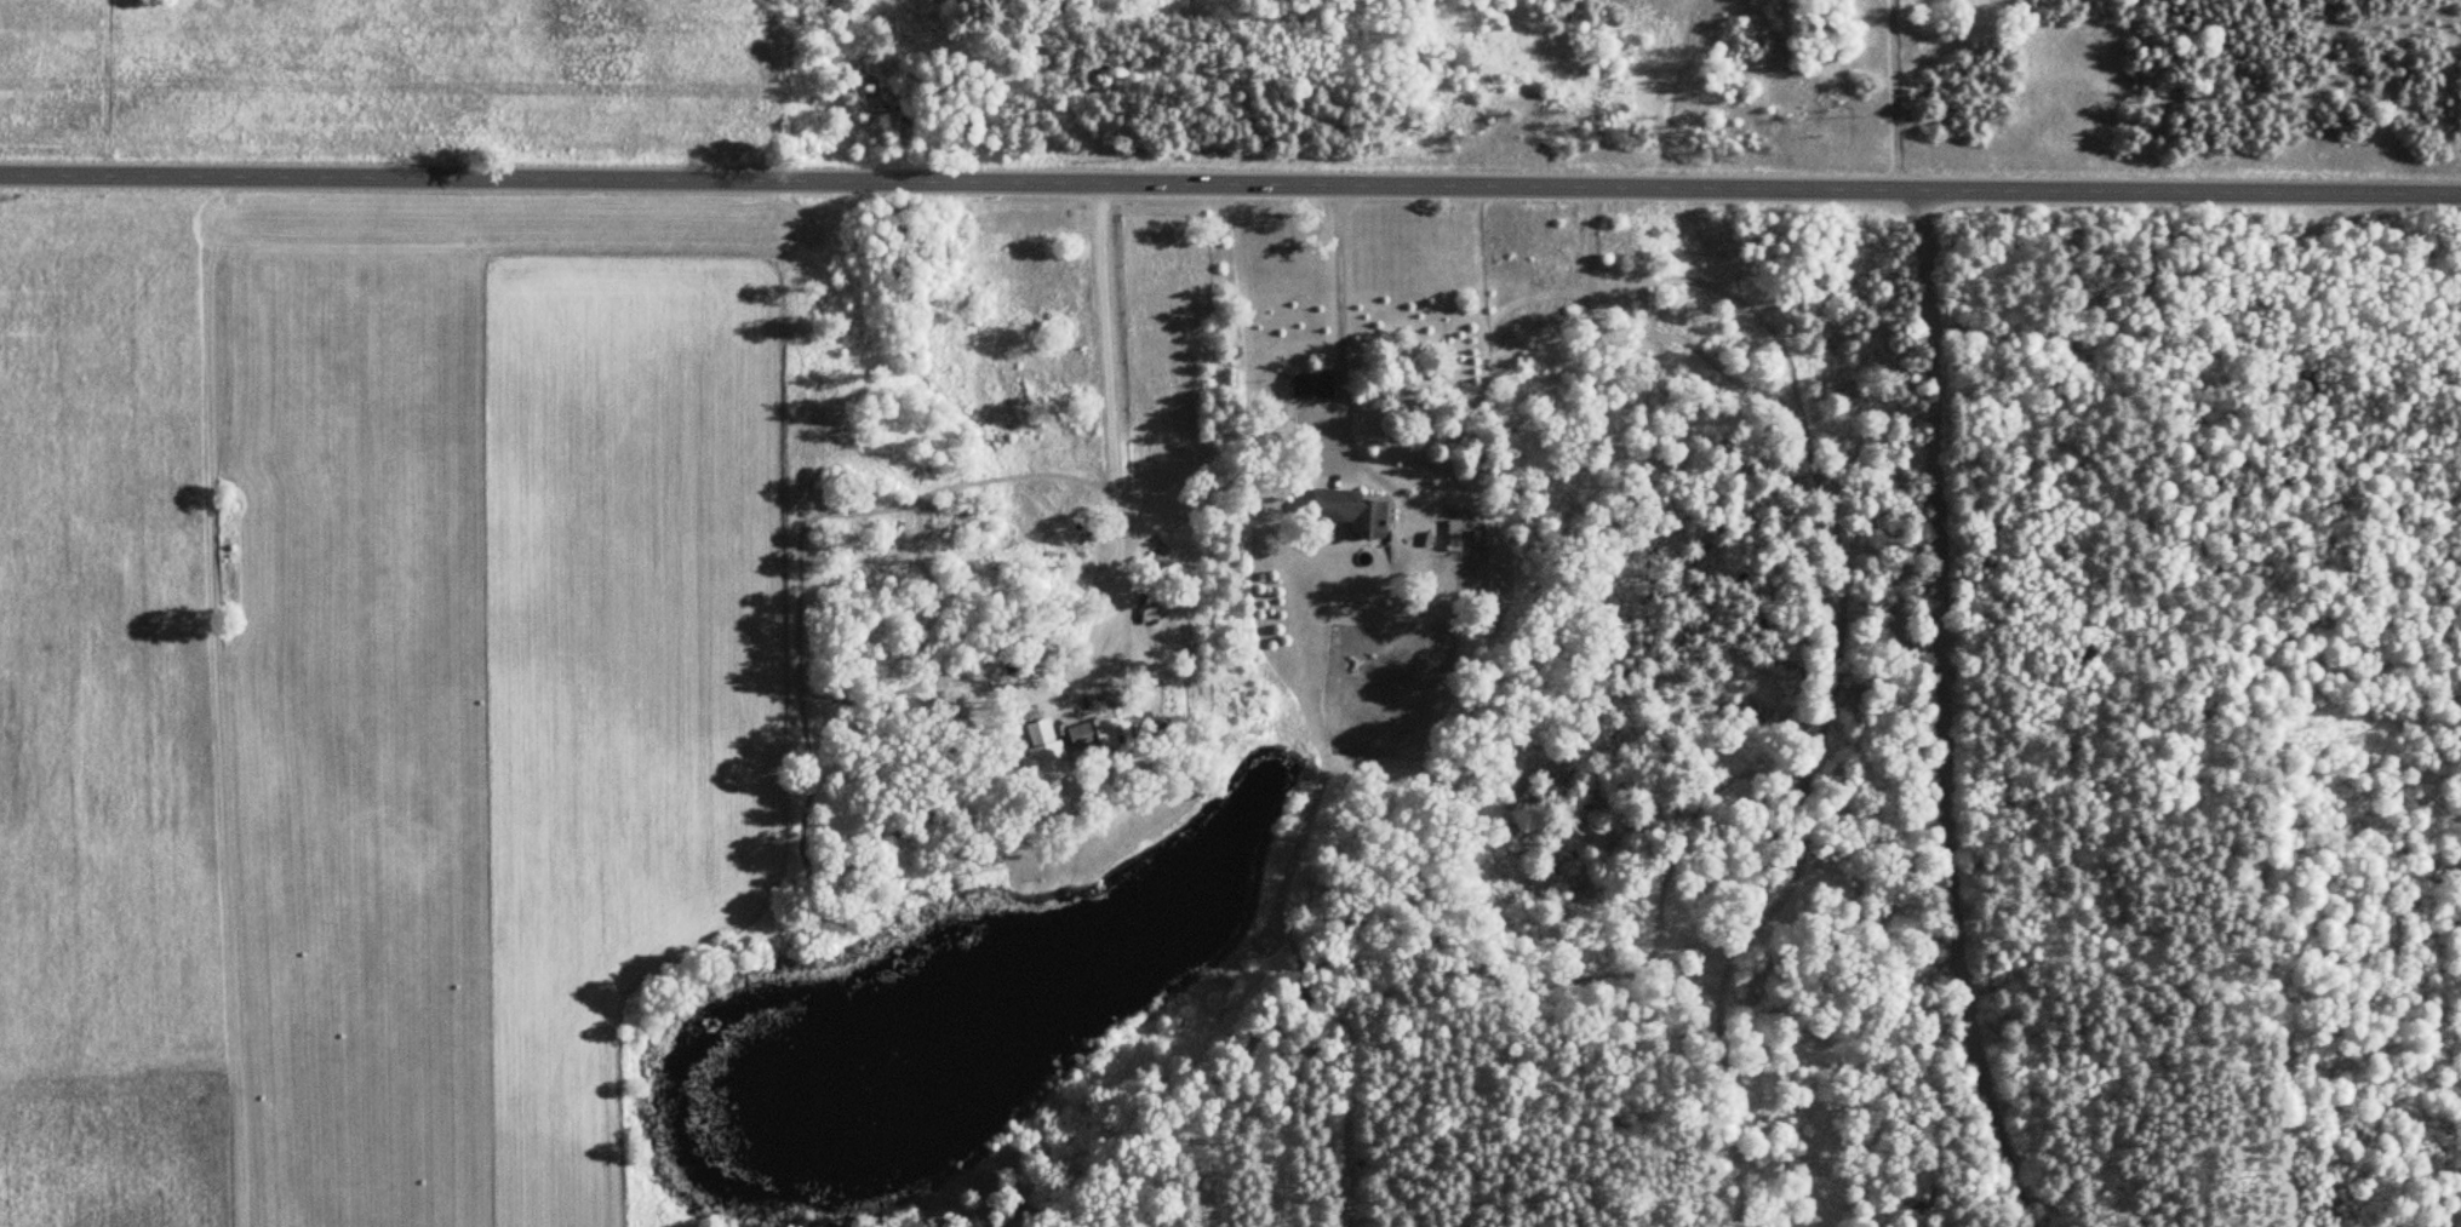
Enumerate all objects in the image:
road: (1230, 180)
building: (1316, 384)
road: (1934, 501)
building: (1343, 511)
crop: (368, 701)
park: (2192, 709)
building: (1086, 738)
building: (1040, 751)
road: (1976, 1024)

